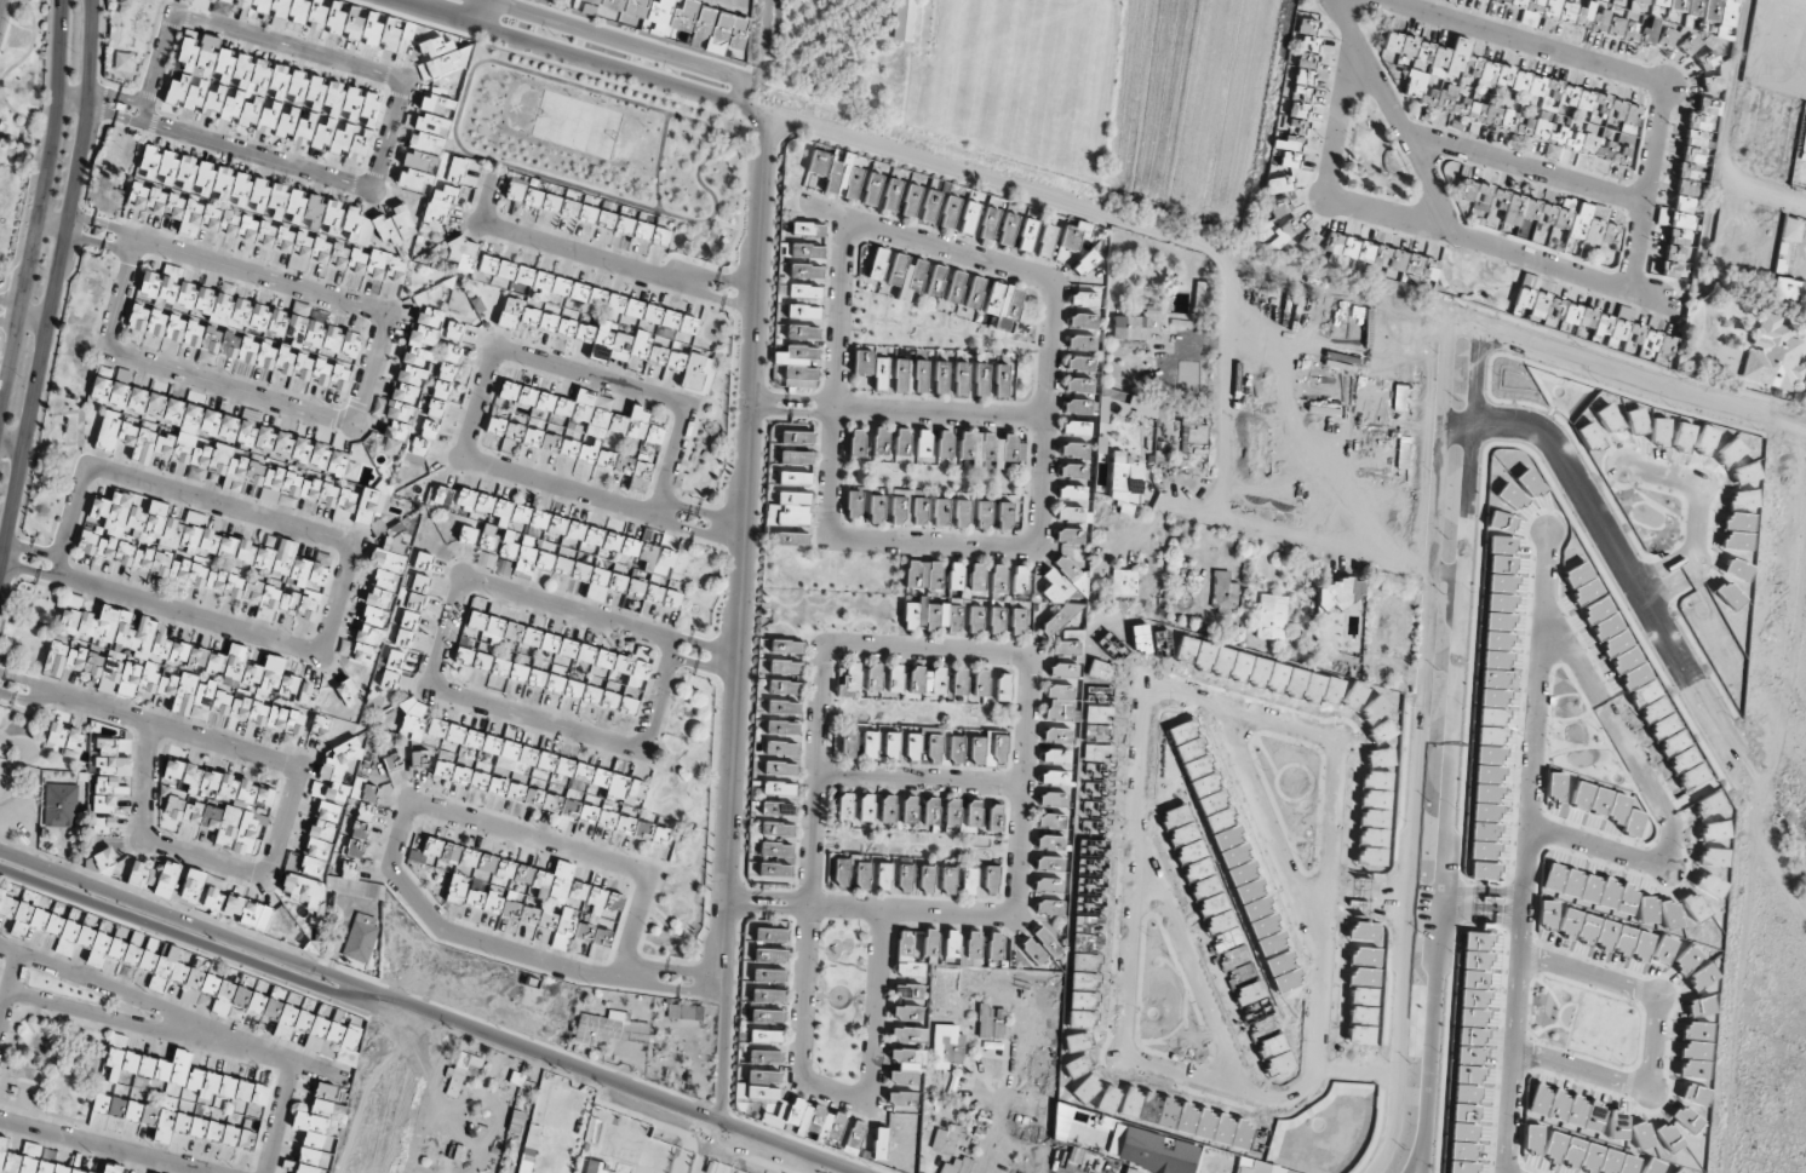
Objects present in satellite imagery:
road: (1732, 79)
park: (10, 200)
road: (1642, 383)
park: (67, 389)
crop: (1767, 524)
park: (28, 625)
park: (39, 786)
crop: (1766, 1033)
park: (52, 1068)

